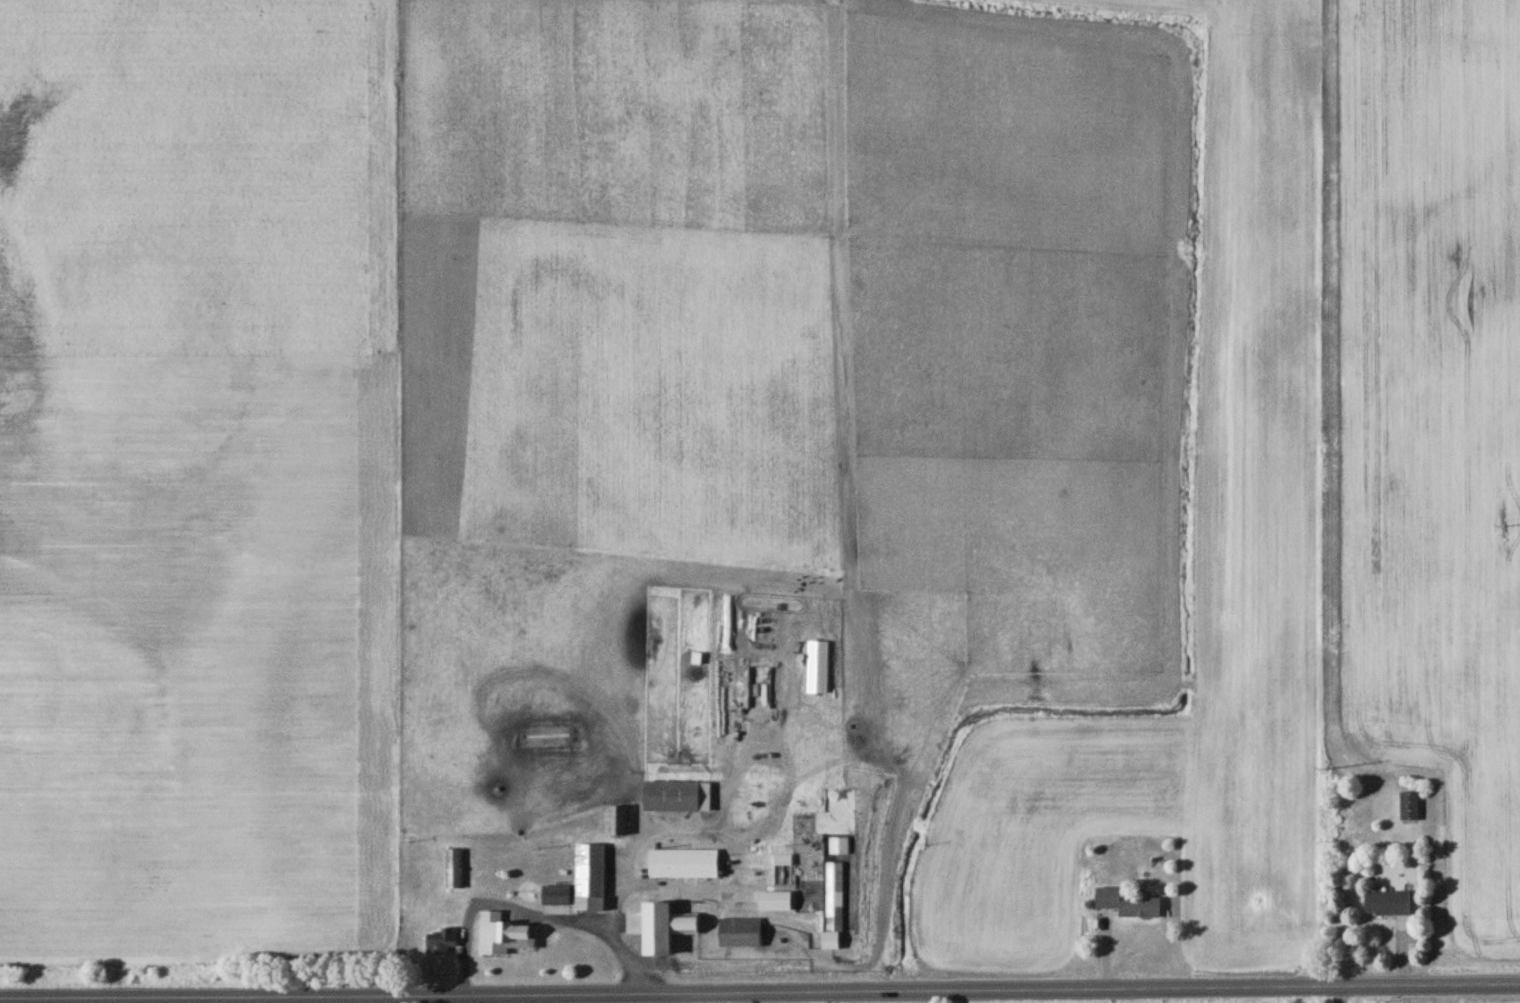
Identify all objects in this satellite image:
road: (1315, 493)
building: (673, 799)
building: (1410, 809)
building: (619, 823)
building: (684, 867)
building: (454, 872)
building: (591, 881)
building: (834, 896)
building: (556, 898)
building: (1389, 906)
building: (1129, 907)
road: (498, 908)
road: (617, 926)
building: (667, 930)
building: (742, 935)
building: (505, 938)
building: (831, 943)
building: (443, 945)
road: (760, 992)
road: (1449, 994)

